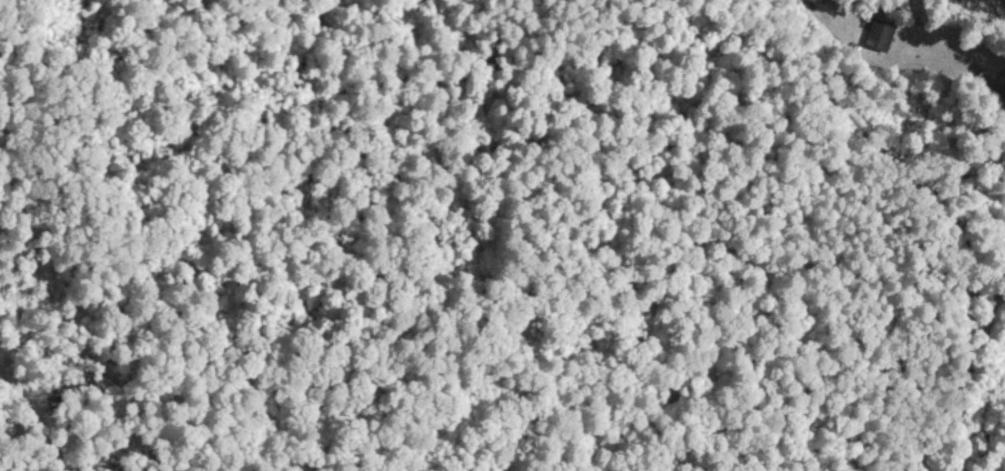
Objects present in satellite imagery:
road: (876, 215)

